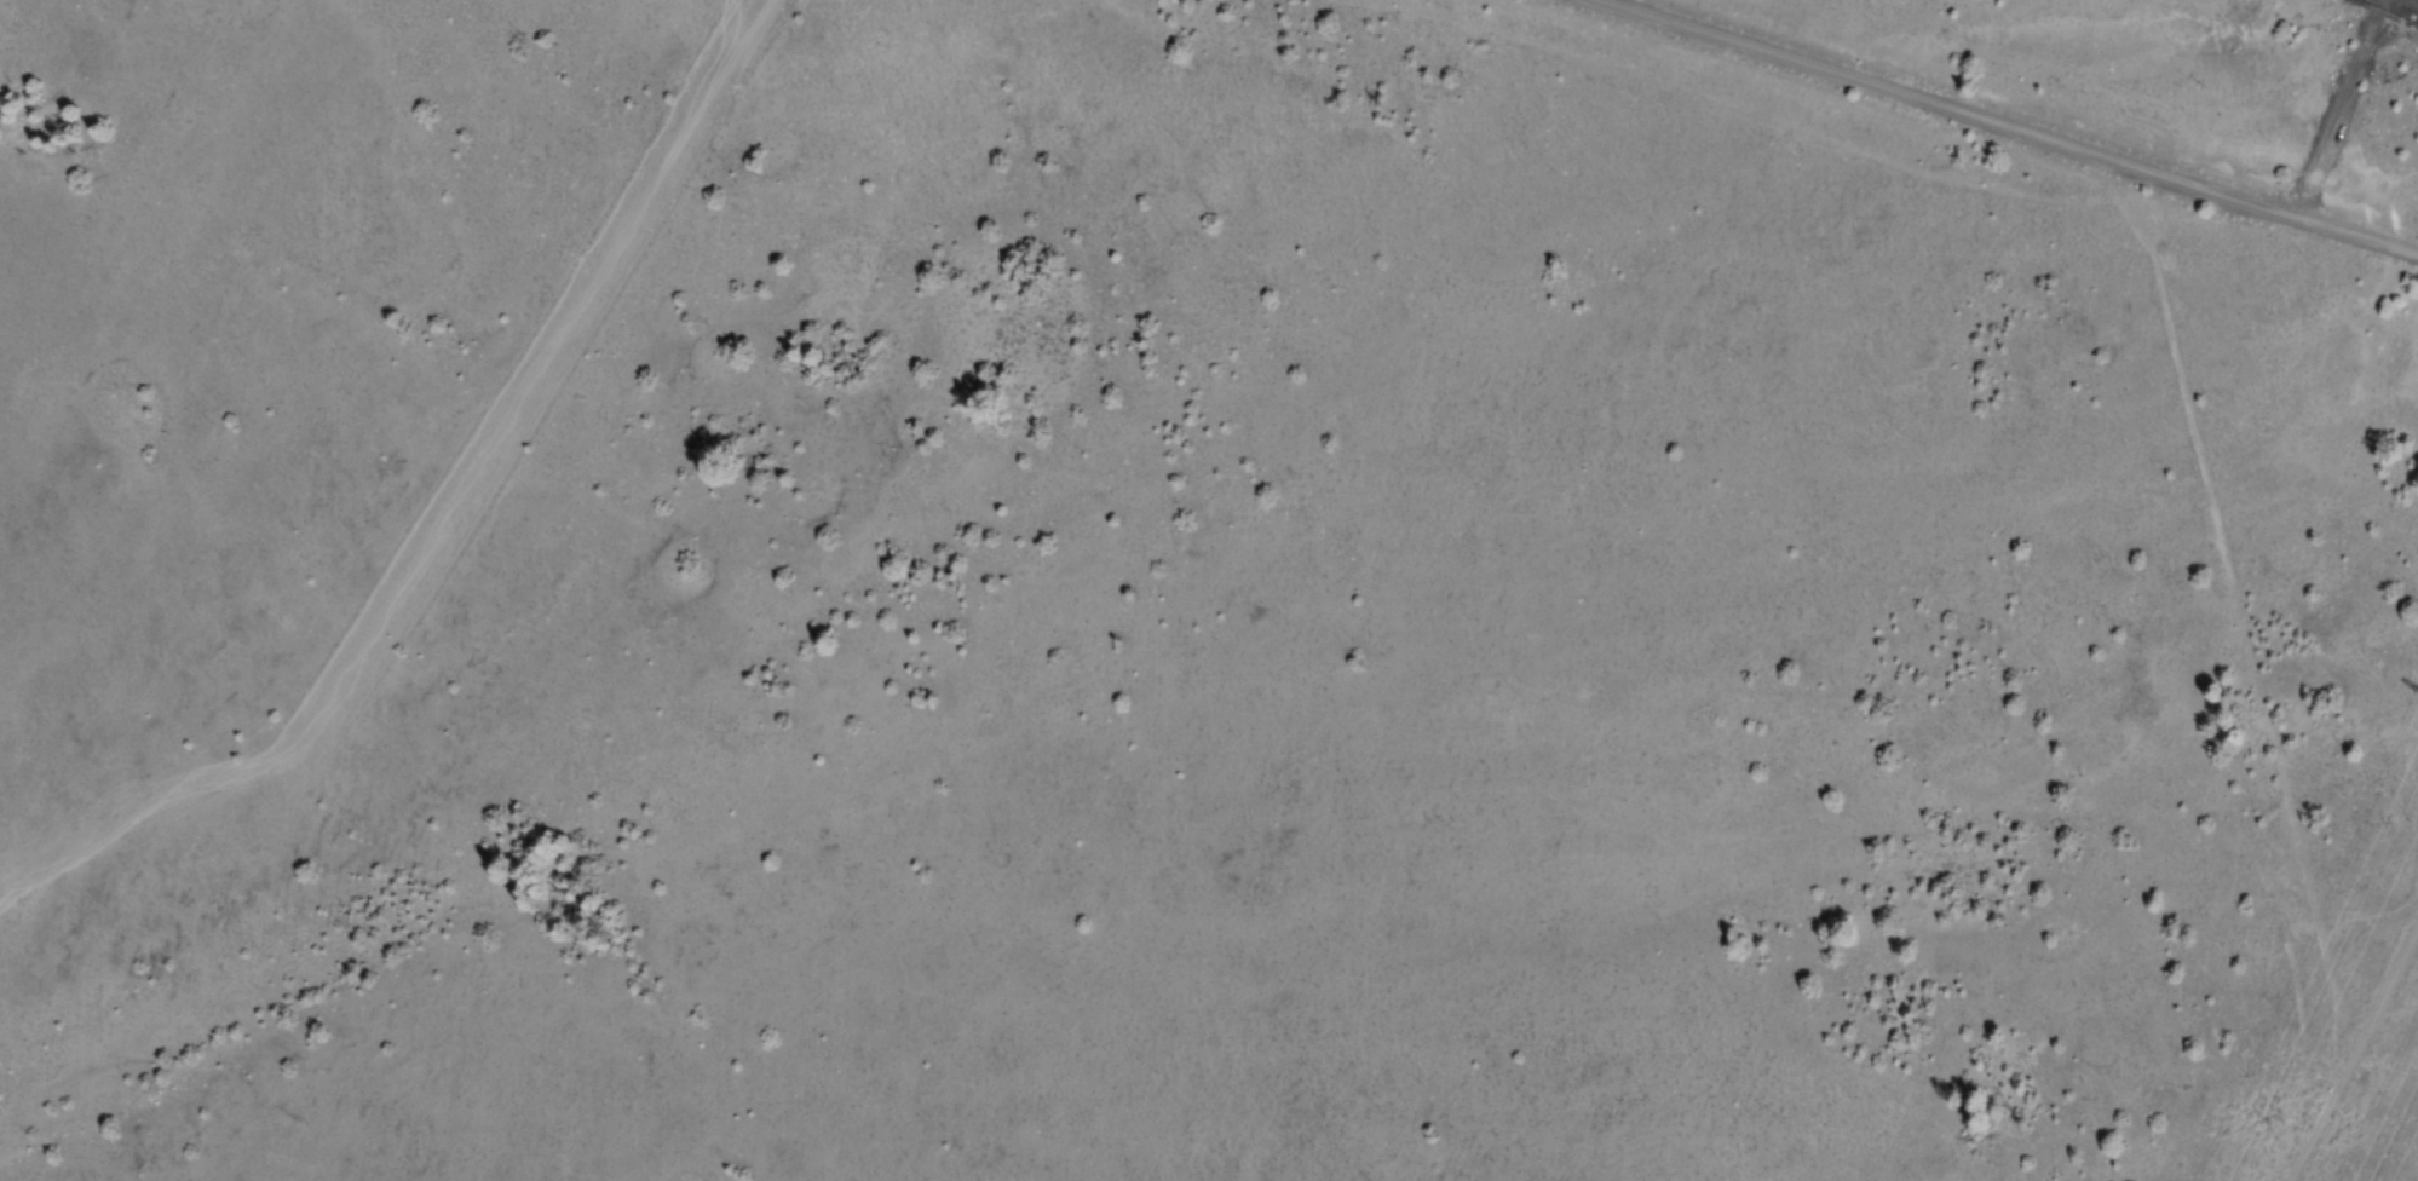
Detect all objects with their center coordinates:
power substation: (2394, 8)
road: (2016, 125)
road: (455, 524)
road: (2236, 626)
road: (2354, 1052)

